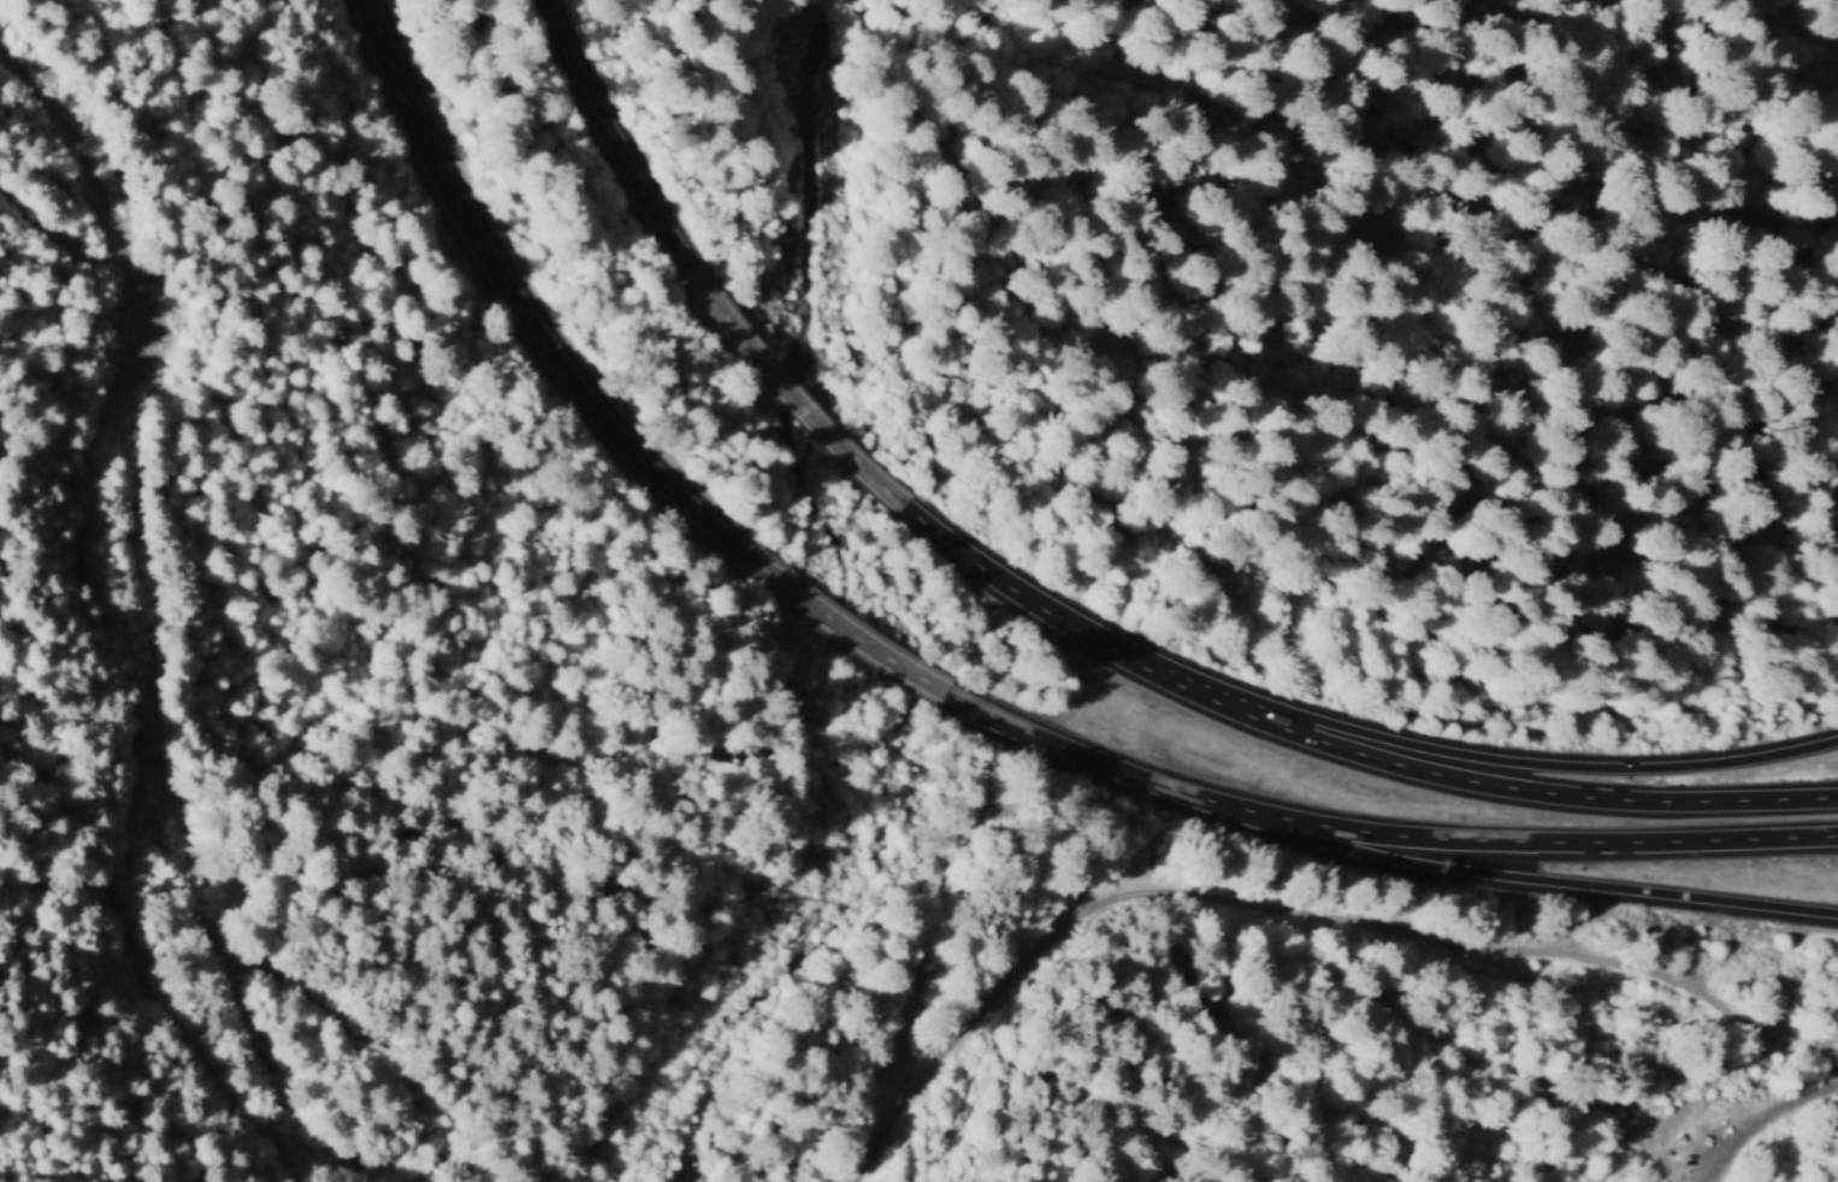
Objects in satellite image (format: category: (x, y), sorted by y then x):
road: (619, 143)
road: (1390, 246)
road: (1774, 277)
road: (532, 309)
road: (797, 404)
road: (1039, 611)
road: (853, 637)
road: (73, 639)
road: (1028, 738)
road: (1505, 764)
road: (1169, 791)
road: (1500, 792)
road: (1532, 847)
road: (1530, 886)
road: (1295, 910)
road: (1742, 1113)

